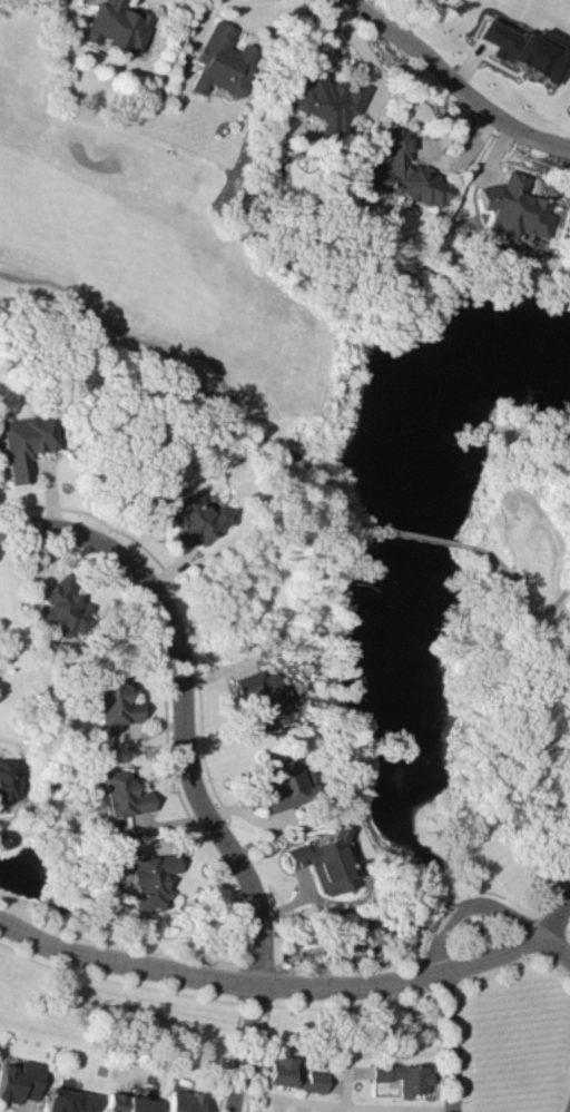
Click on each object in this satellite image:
building: (115, 24)
building: (528, 49)
building: (219, 60)
road: (458, 80)
building: (326, 99)
building: (402, 171)
building: (513, 207)
road: (124, 331)
building: (22, 443)
road: (303, 461)
building: (190, 518)
road: (413, 533)
road: (512, 589)
building: (61, 608)
building: (262, 697)
building: (112, 700)
road: (187, 769)
building: (10, 777)
building: (283, 779)
building: (119, 794)
building: (326, 862)
building: (146, 877)
road: (465, 903)
road: (554, 915)
road: (288, 984)
road: (450, 1041)
building: (291, 1074)
building: (403, 1075)
building: (19, 1080)
building: (67, 1100)
building: (180, 1101)
building: (125, 1103)
road: (342, 1106)

